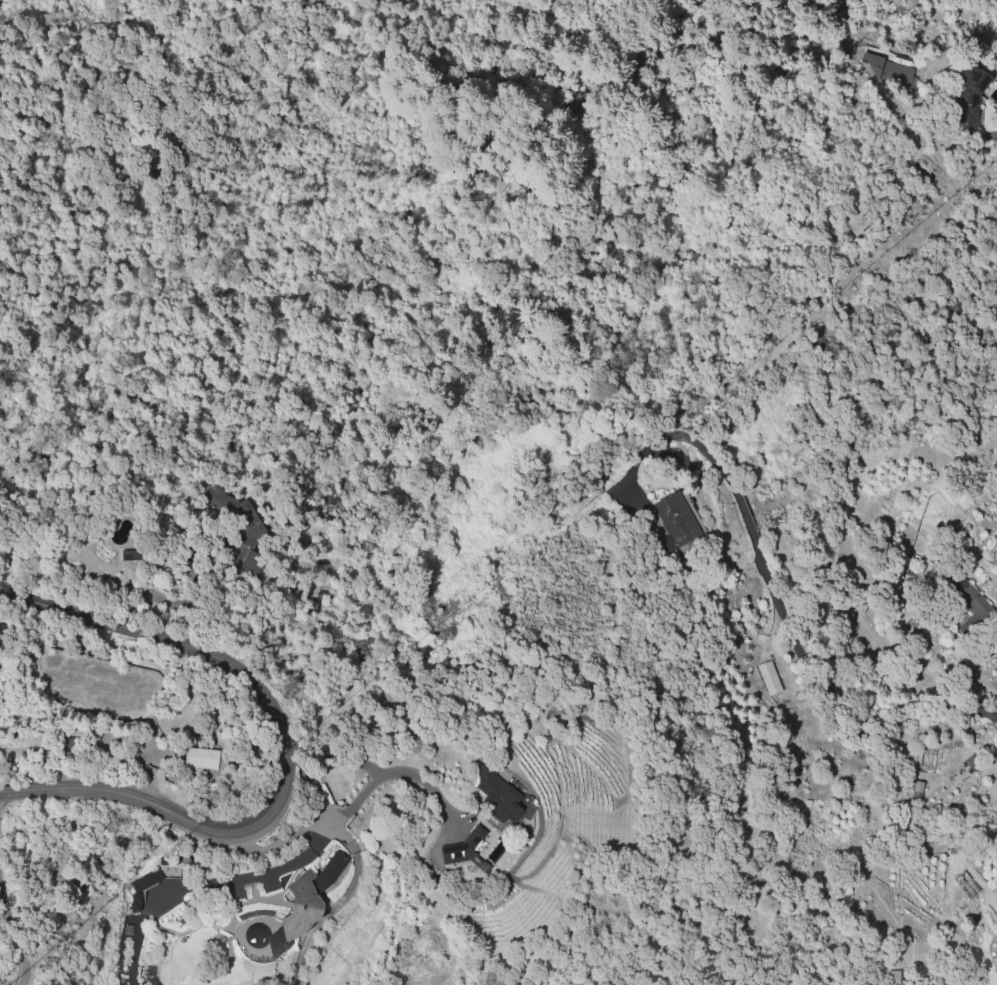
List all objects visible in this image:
building: (887, 69)
building: (977, 91)
building: (683, 521)
building: (238, 526)
building: (133, 555)
road: (781, 611)
building: (770, 675)
road: (285, 751)
building: (203, 757)
building: (220, 761)
road: (391, 771)
building: (495, 787)
building: (510, 812)
road: (314, 824)
building: (467, 848)
building: (334, 867)
building: (146, 880)
road: (203, 882)
road: (342, 902)
building: (299, 911)
road: (15, 937)
building: (994, 960)

